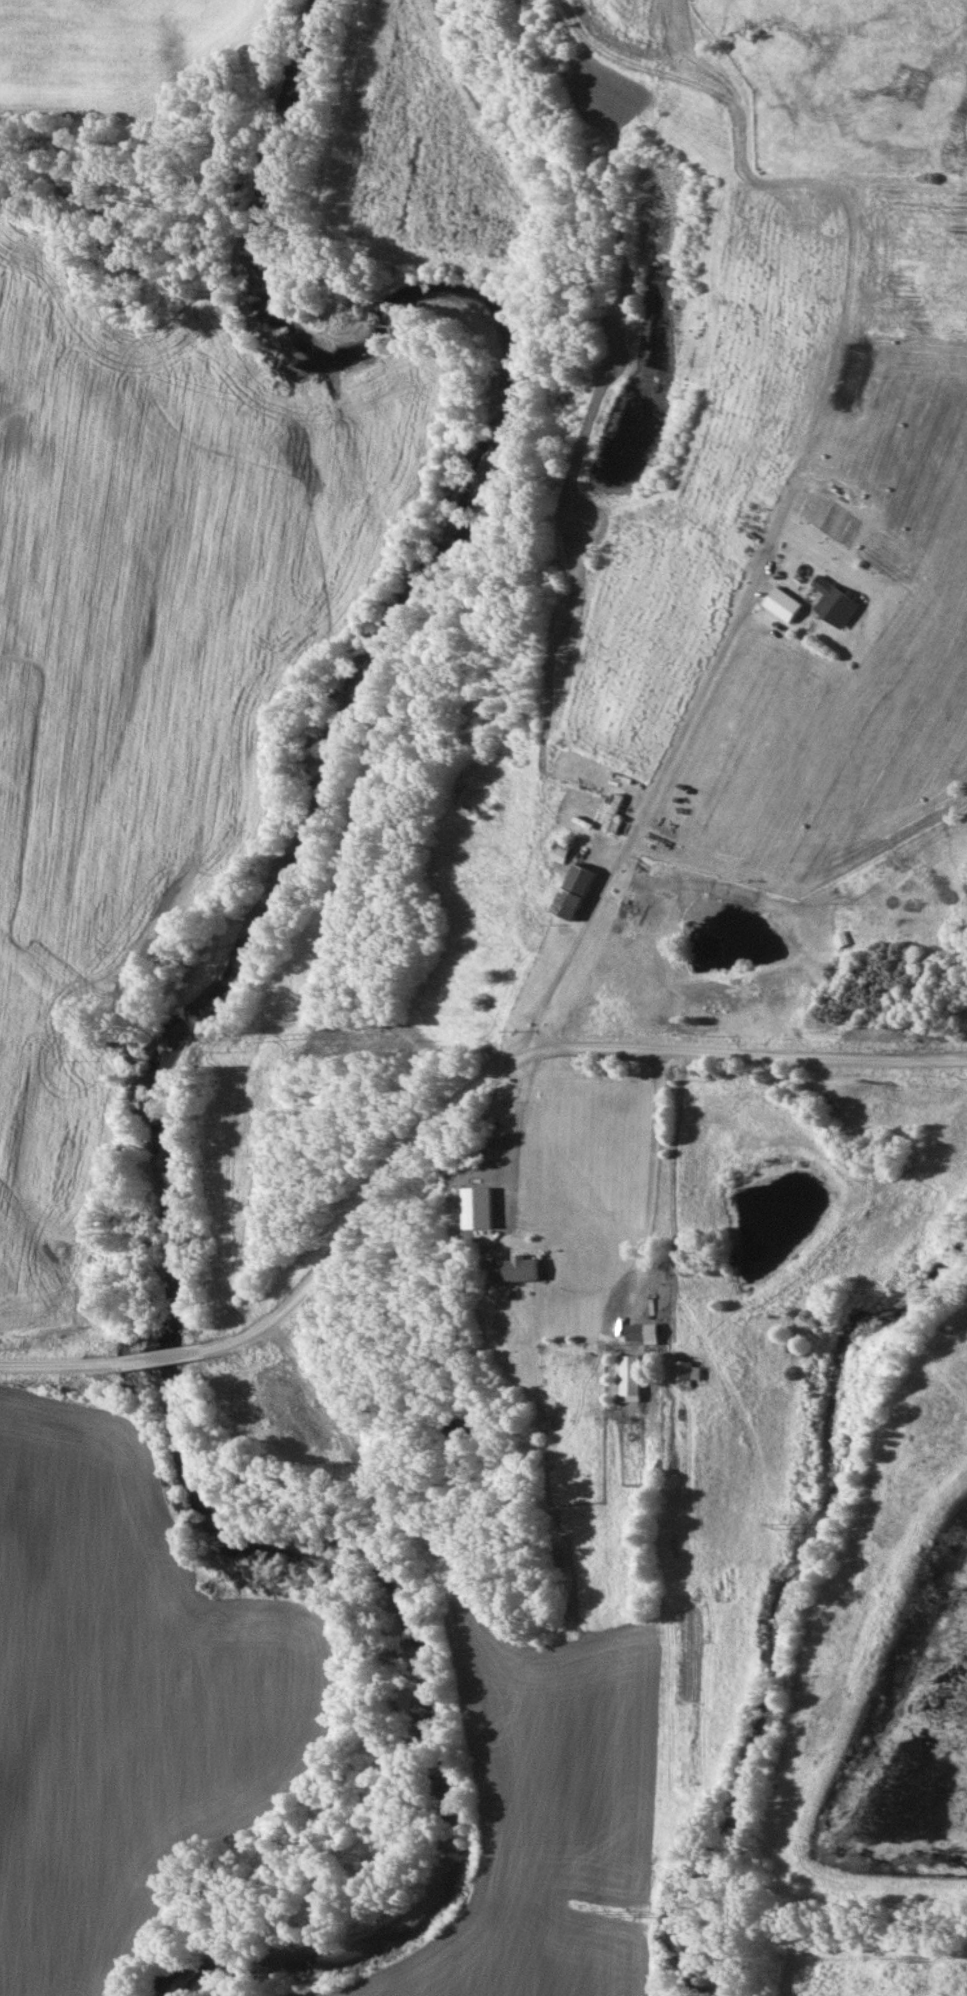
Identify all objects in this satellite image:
road: (872, 463)
building: (828, 604)
road: (647, 843)
building: (552, 848)
building: (563, 893)
building: (839, 940)
road: (431, 1114)
road: (655, 1174)
building: (480, 1218)
building: (512, 1271)
building: (632, 1335)
building: (685, 1372)
power tower: (779, 1537)
power tower: (612, 1915)

